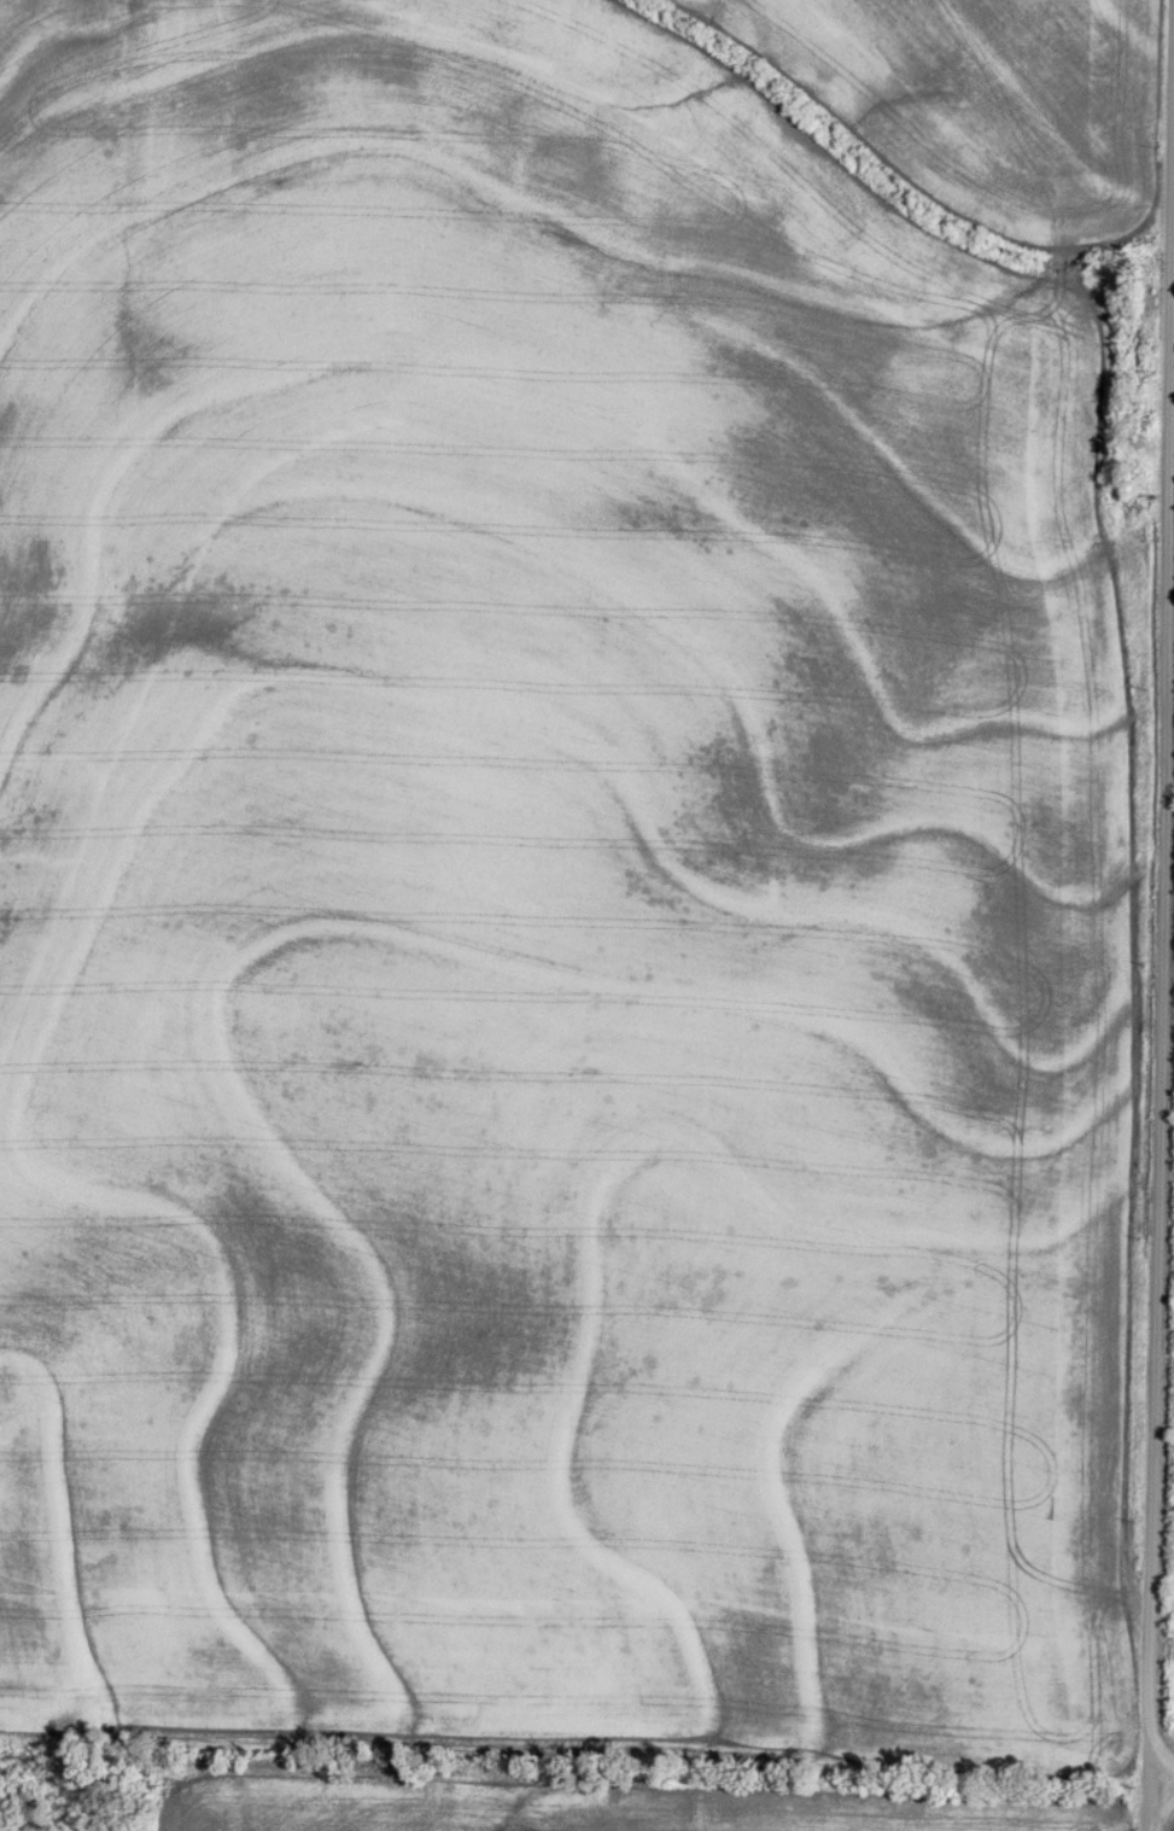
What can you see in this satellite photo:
road: (1161, 1004)
road: (1162, 1782)

